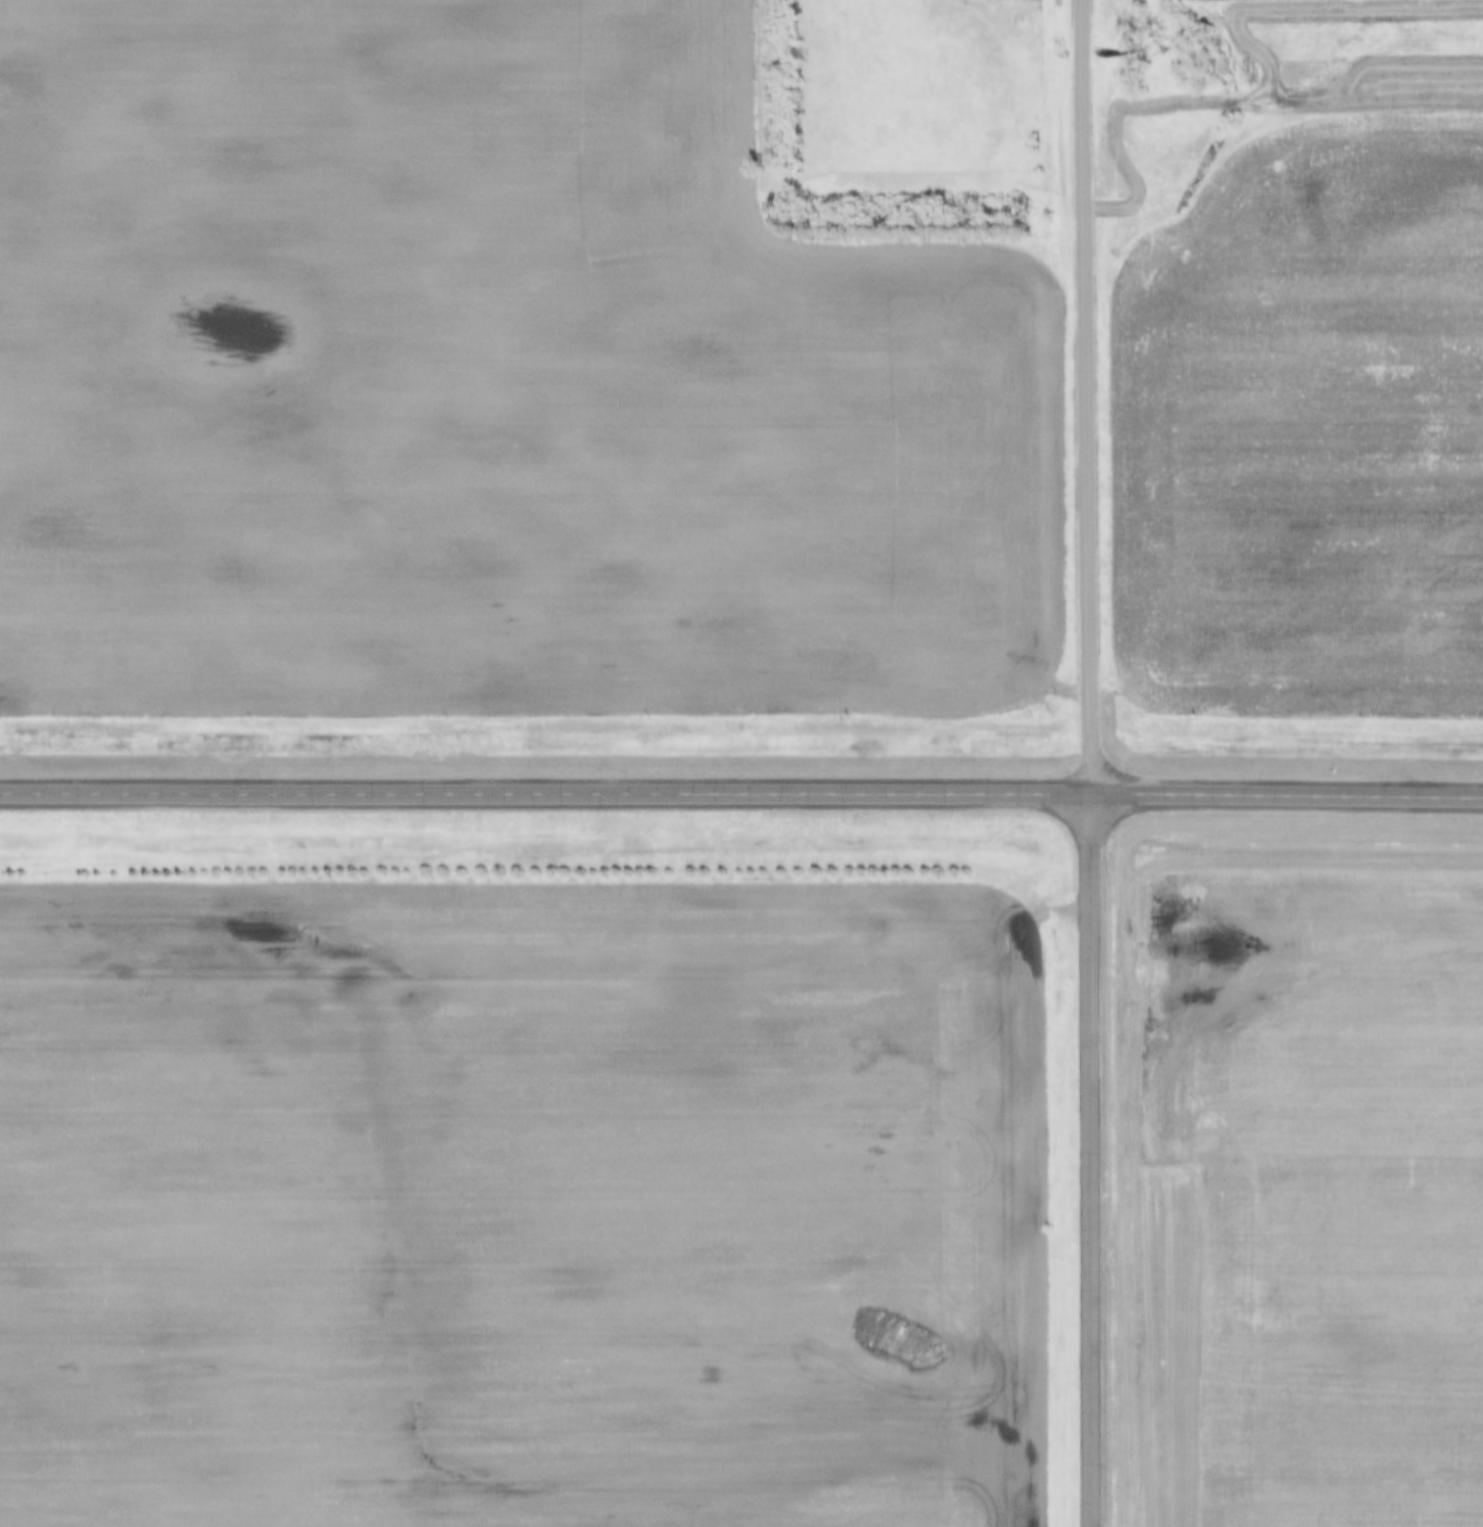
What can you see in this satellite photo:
road: (1088, 398)
road: (741, 795)
road: (1094, 1161)

